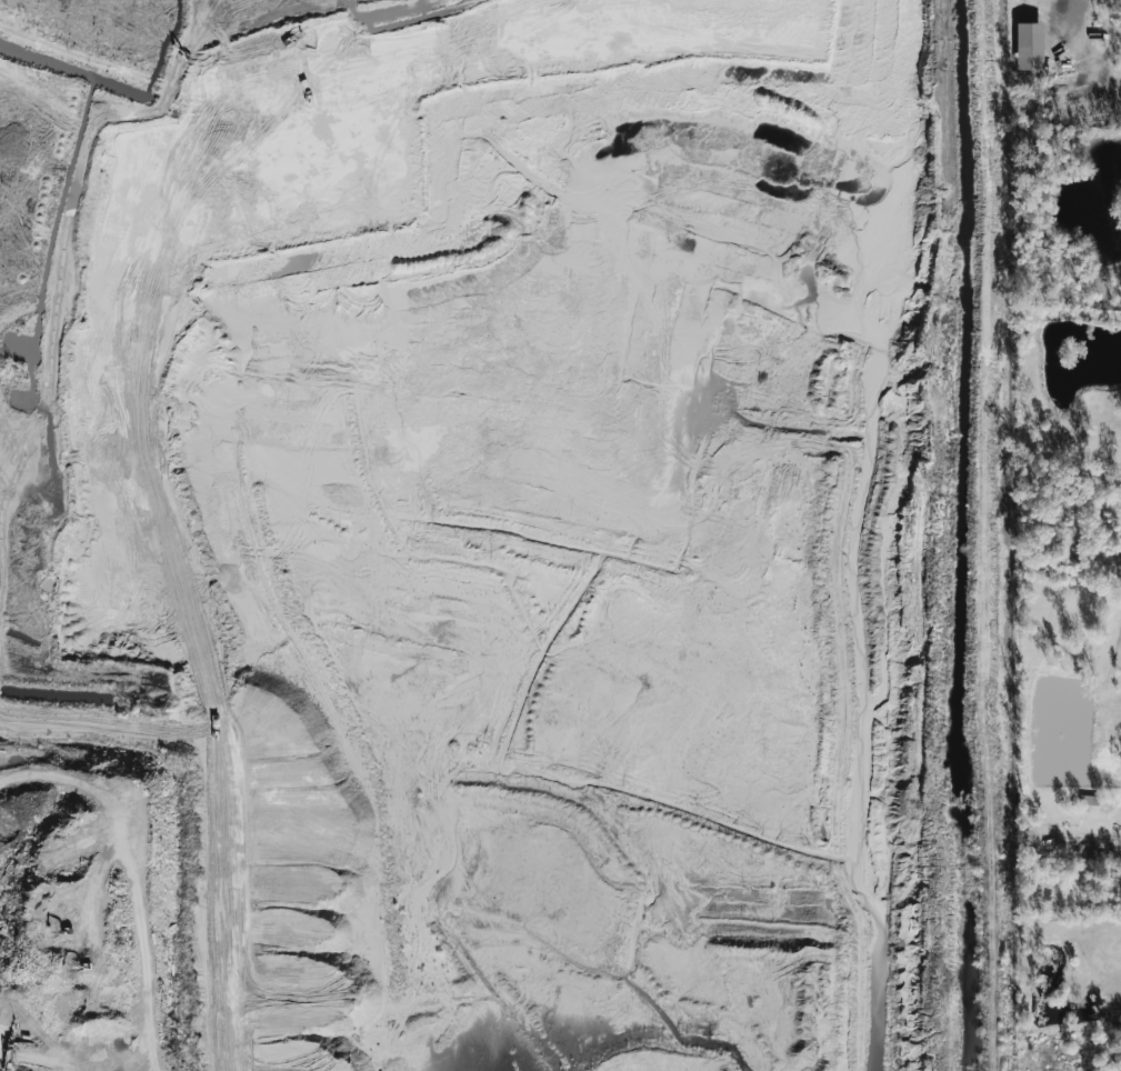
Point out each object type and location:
building: (1028, 47)
road: (1097, 931)

